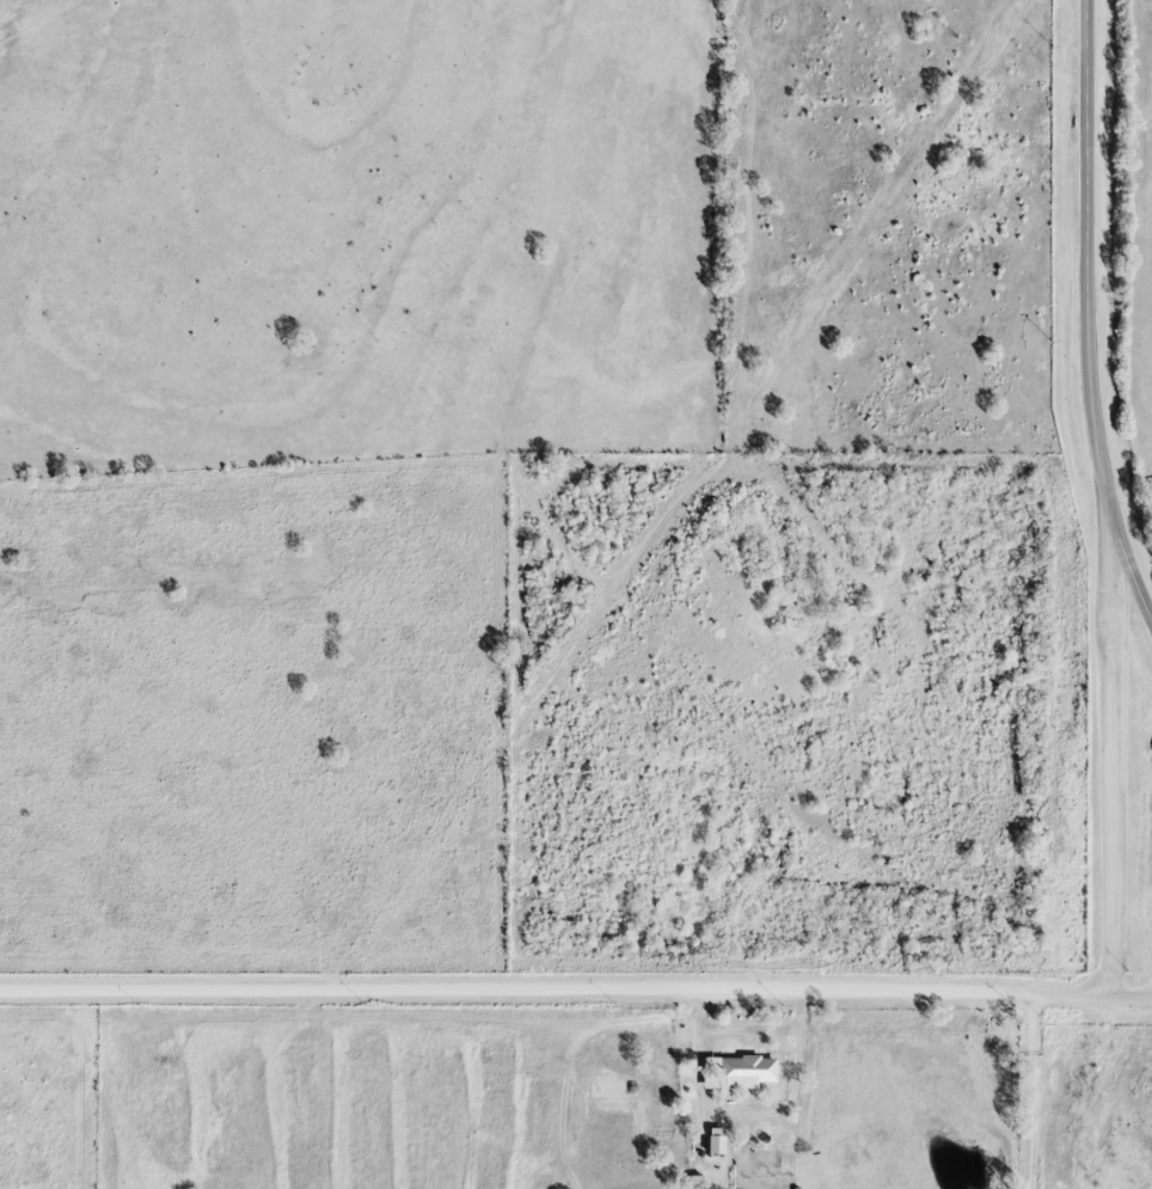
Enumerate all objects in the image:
road: (1086, 315)
road: (1107, 747)
road: (515, 987)
road: (1091, 994)
building: (743, 1071)
road: (1030, 1092)
building: (716, 1138)

